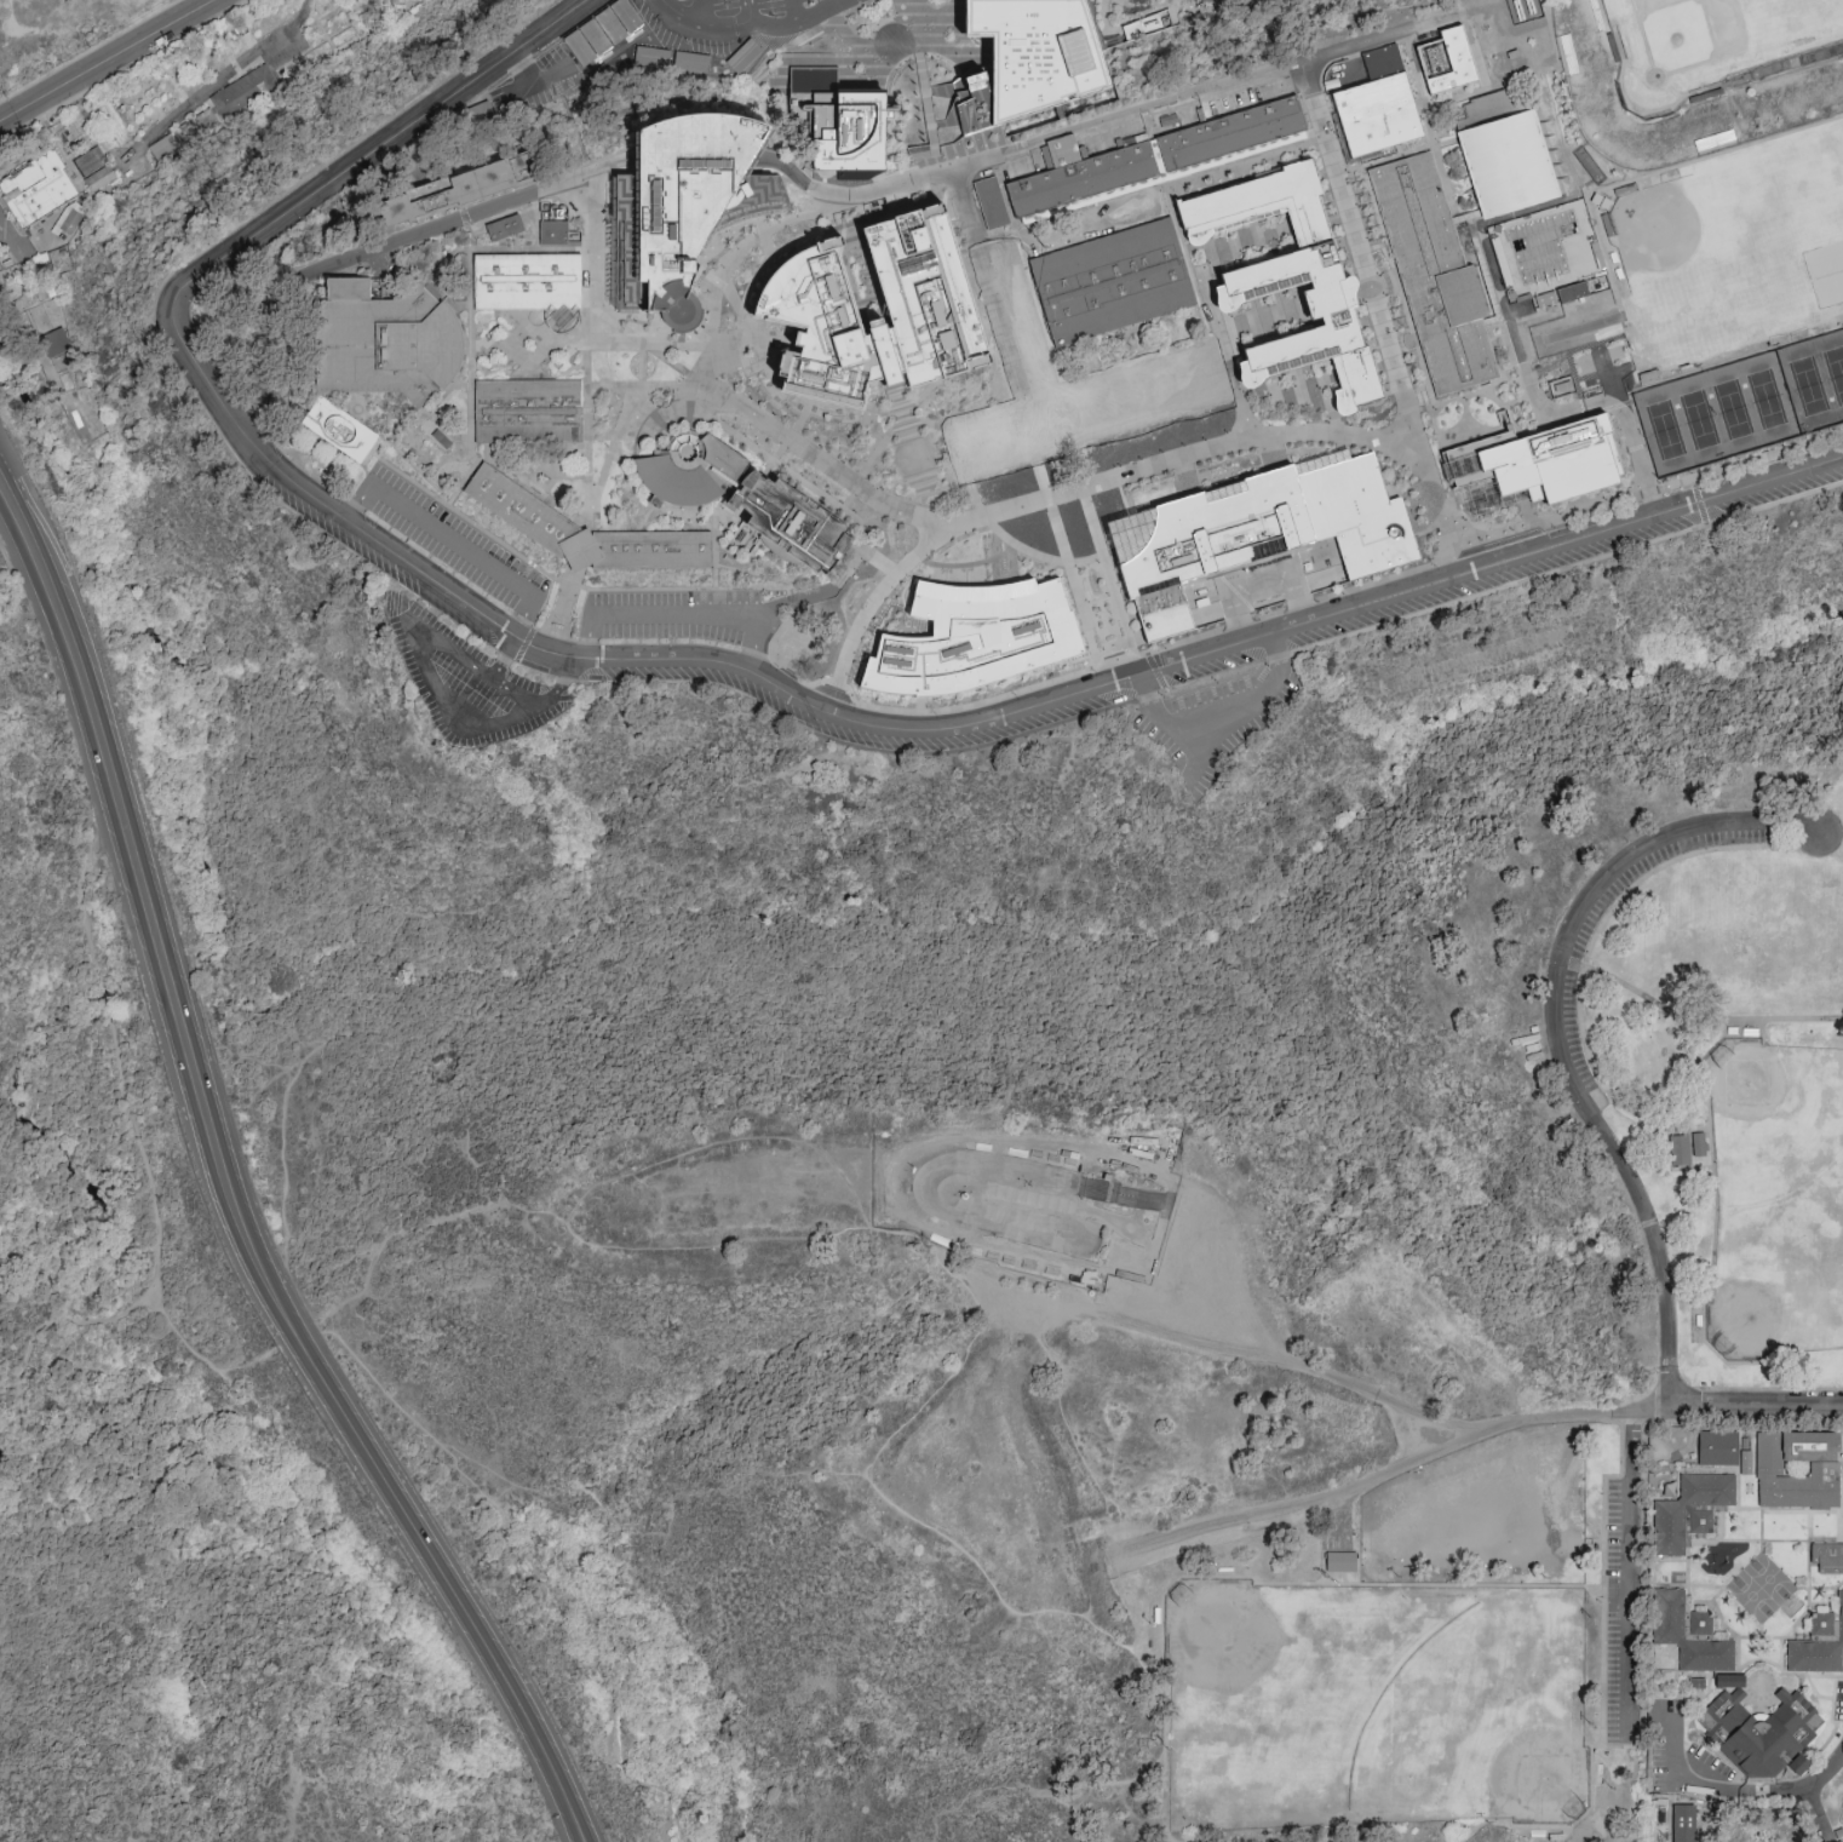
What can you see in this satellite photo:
parking lot: (1211, 0)
road: (836, 1)
road: (1212, 1)
road: (750, 11)
road: (793, 11)
road: (701, 12)
road: (681, 13)
road: (1106, 16)
parking lot: (734, 21)
road: (775, 24)
road: (915, 25)
building: (1146, 25)
park: (1707, 42)
road: (90, 51)
building: (1039, 52)
building: (1448, 58)
road: (107, 59)
road: (920, 59)
building: (1384, 59)
road: (921, 68)
road: (122, 69)
road: (1284, 71)
road: (924, 78)
road: (218, 80)
road: (534, 80)
road: (925, 91)
building: (236, 104)
building: (1377, 113)
road: (930, 114)
building: (839, 120)
road: (931, 125)
road: (935, 147)
building: (167, 151)
building: (1149, 154)
road: (938, 165)
building: (97, 172)
road: (1167, 176)
building: (460, 185)
building: (41, 191)
road: (856, 195)
road: (861, 200)
building: (991, 201)
building: (683, 205)
road: (850, 207)
building: (1527, 208)
road: (866, 219)
building: (74, 225)
building: (556, 225)
building: (506, 226)
road: (836, 228)
road: (1, 230)
road: (763, 235)
building: (1003, 245)
road: (788, 248)
park: (1732, 248)
road: (743, 249)
road: (369, 251)
building: (1435, 272)
building: (1291, 279)
building: (528, 280)
building: (1112, 280)
road: (725, 285)
building: (805, 305)
road: (1206, 306)
road: (470, 316)
building: (1023, 321)
road: (768, 337)
building: (385, 339)
building: (54, 340)
road: (644, 340)
road: (664, 344)
road: (529, 348)
road: (587, 349)
road: (704, 363)
road: (666, 384)
building: (1148, 390)
road: (1063, 400)
park: (1744, 402)
road: (907, 404)
road: (1583, 406)
building: (529, 409)
road: (430, 411)
road: (664, 412)
road: (621, 425)
road: (1397, 429)
road: (1634, 429)
building: (343, 431)
building: (1006, 434)
road: (787, 435)
road: (602, 436)
building: (1139, 437)
road: (912, 440)
building: (1171, 459)
building: (1543, 459)
road: (412, 463)
road: (781, 464)
road: (955, 464)
road: (559, 472)
road: (534, 487)
building: (745, 497)
road: (1052, 497)
road: (449, 501)
building: (523, 510)
road: (645, 516)
road: (716, 524)
parking lot: (332, 528)
building: (1259, 529)
road: (931, 533)
road: (450, 539)
parking lot: (454, 539)
road: (579, 541)
road: (587, 547)
building: (651, 550)
road: (1459, 550)
building: (581, 551)
road: (995, 555)
road: (874, 557)
road: (1064, 558)
road: (1012, 560)
road: (964, 563)
road: (1561, 569)
road: (574, 572)
road: (754, 573)
road: (716, 576)
parking lot: (407, 579)
road: (563, 579)
road: (716, 584)
road: (888, 587)
road: (565, 596)
road: (561, 613)
parking lot: (682, 615)
road: (681, 616)
parking lot: (461, 618)
building: (980, 631)
road: (555, 633)
road: (524, 642)
road: (504, 654)
road: (699, 658)
parking lot: (534, 665)
parking lot: (1211, 666)
road: (799, 672)
parking lot: (465, 678)
road: (557, 684)
road: (440, 692)
parking lot: (763, 694)
road: (977, 706)
parking lot: (1034, 722)
parking lot: (1215, 723)
road: (1213, 746)
road: (1717, 849)
parking lot: (1566, 963)
road: (1707, 1020)
road: (1580, 1026)
road: (1562, 1033)
building: (1699, 1142)
building: (1681, 1148)
road: (144, 1167)
road: (225, 1190)
park: (1774, 1197)
track: (1045, 1215)
road: (1715, 1215)
park: (1386, 1343)
road: (1296, 1364)
road: (1758, 1407)
park: (182, 1425)
building: (1719, 1447)
building: (1747, 1454)
road: (1057, 1459)
building: (1798, 1469)
road: (1378, 1477)
building: (1692, 1509)
road: (913, 1513)
road: (1634, 1556)
building: (1827, 1556)
building: (1340, 1562)
road: (1344, 1585)
parking lot: (1625, 1611)
building: (1690, 1631)
building: (1820, 1642)
road: (1603, 1652)
park: (1377, 1704)
building: (1759, 1727)
road: (1165, 1758)
building: (1801, 1762)
road: (1689, 1783)
road: (1673, 1784)
road: (1813, 1784)
road: (1095, 1797)
road: (1483, 1820)
building: (1684, 1821)

